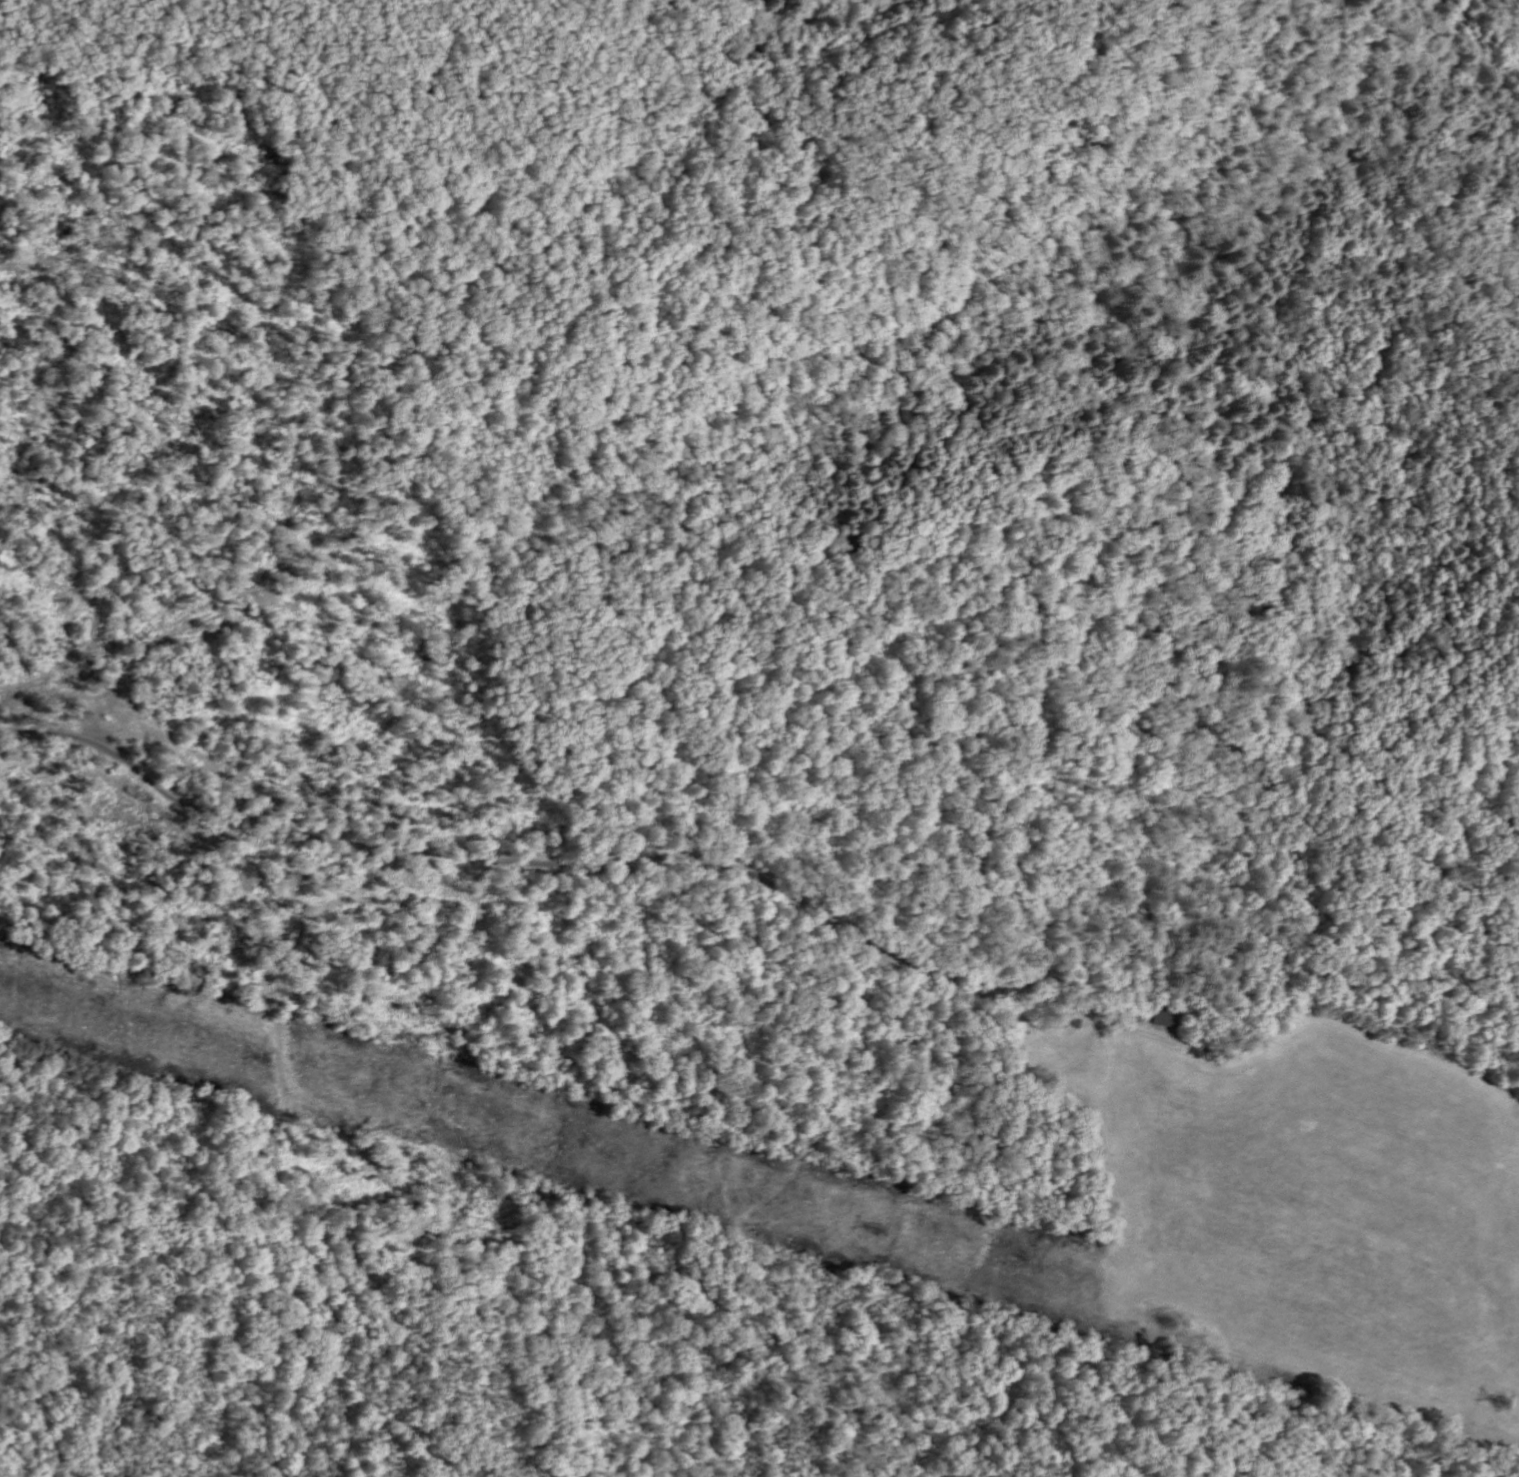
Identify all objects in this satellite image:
road: (592, 860)
road: (1356, 939)

